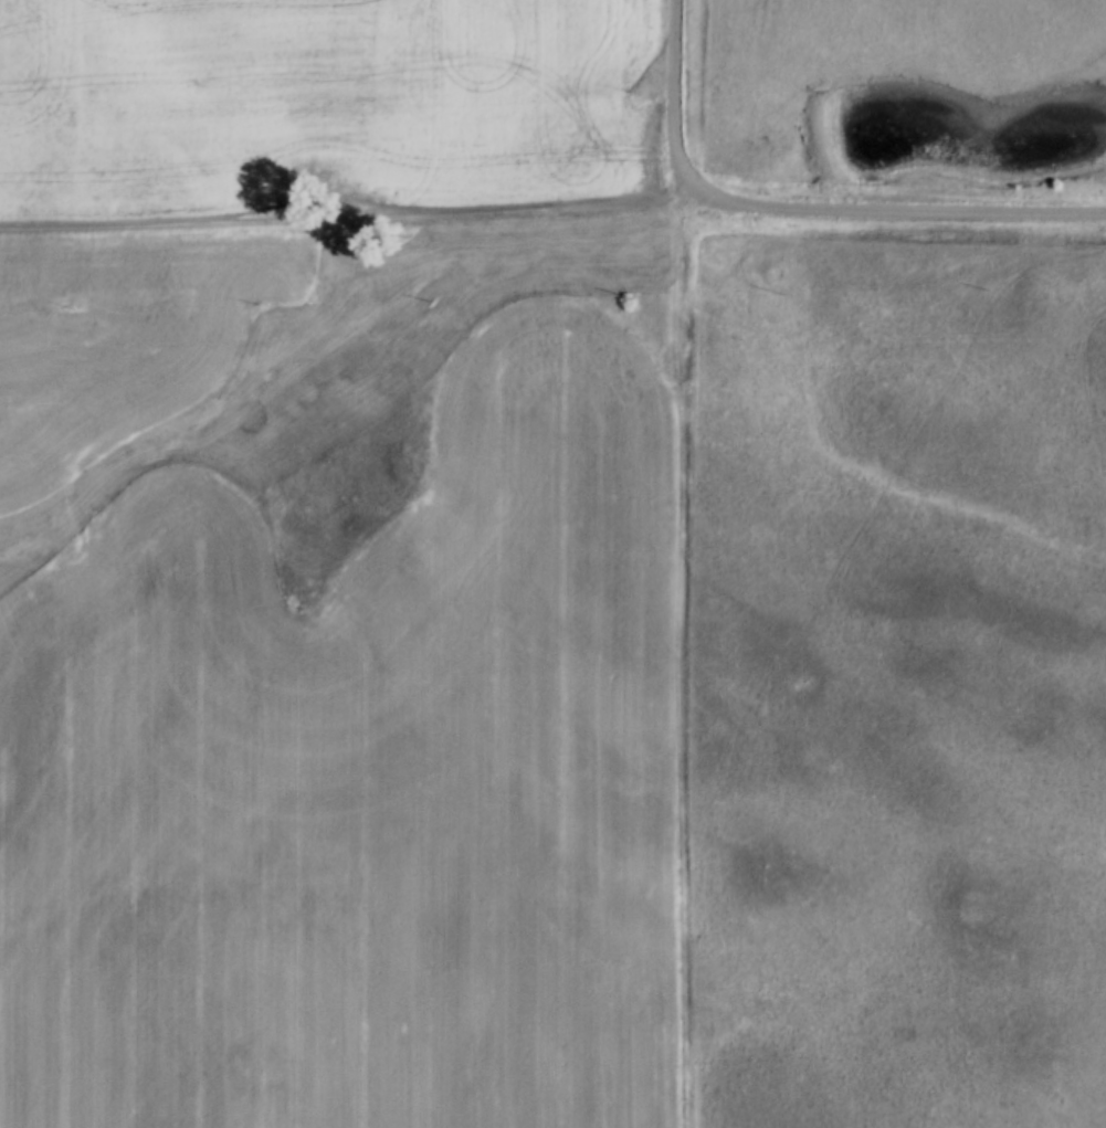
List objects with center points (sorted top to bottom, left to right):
road: (680, 102)
road: (552, 205)
road: (678, 665)

